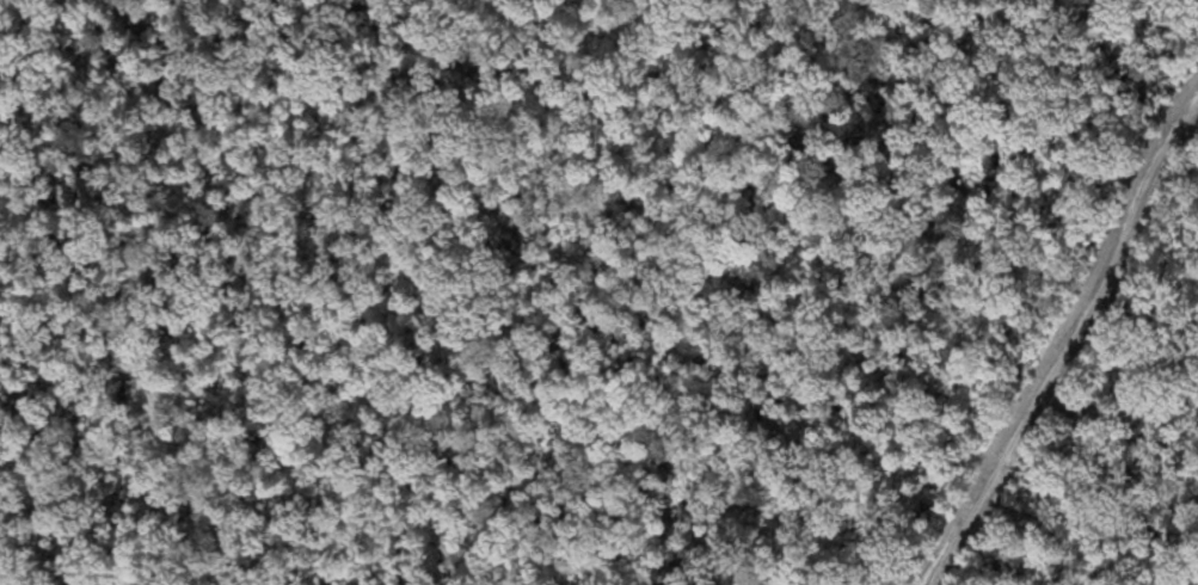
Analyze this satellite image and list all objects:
road: (1070, 357)

